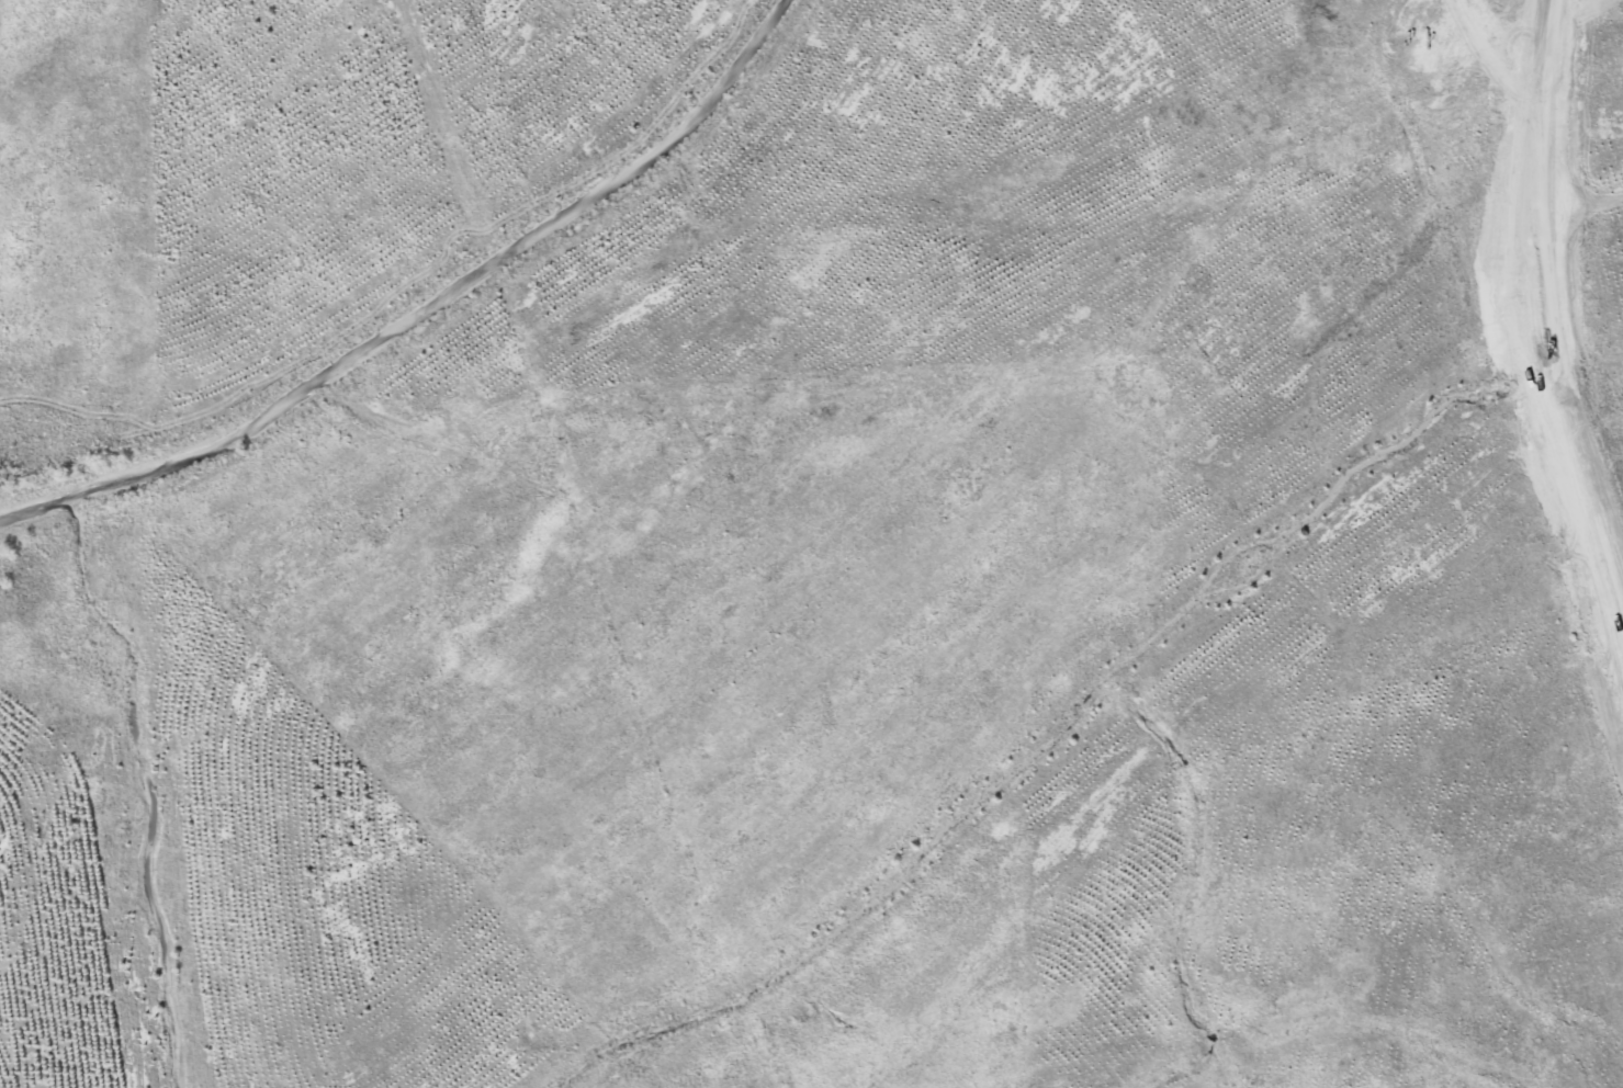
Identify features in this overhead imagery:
road: (1529, 318)

